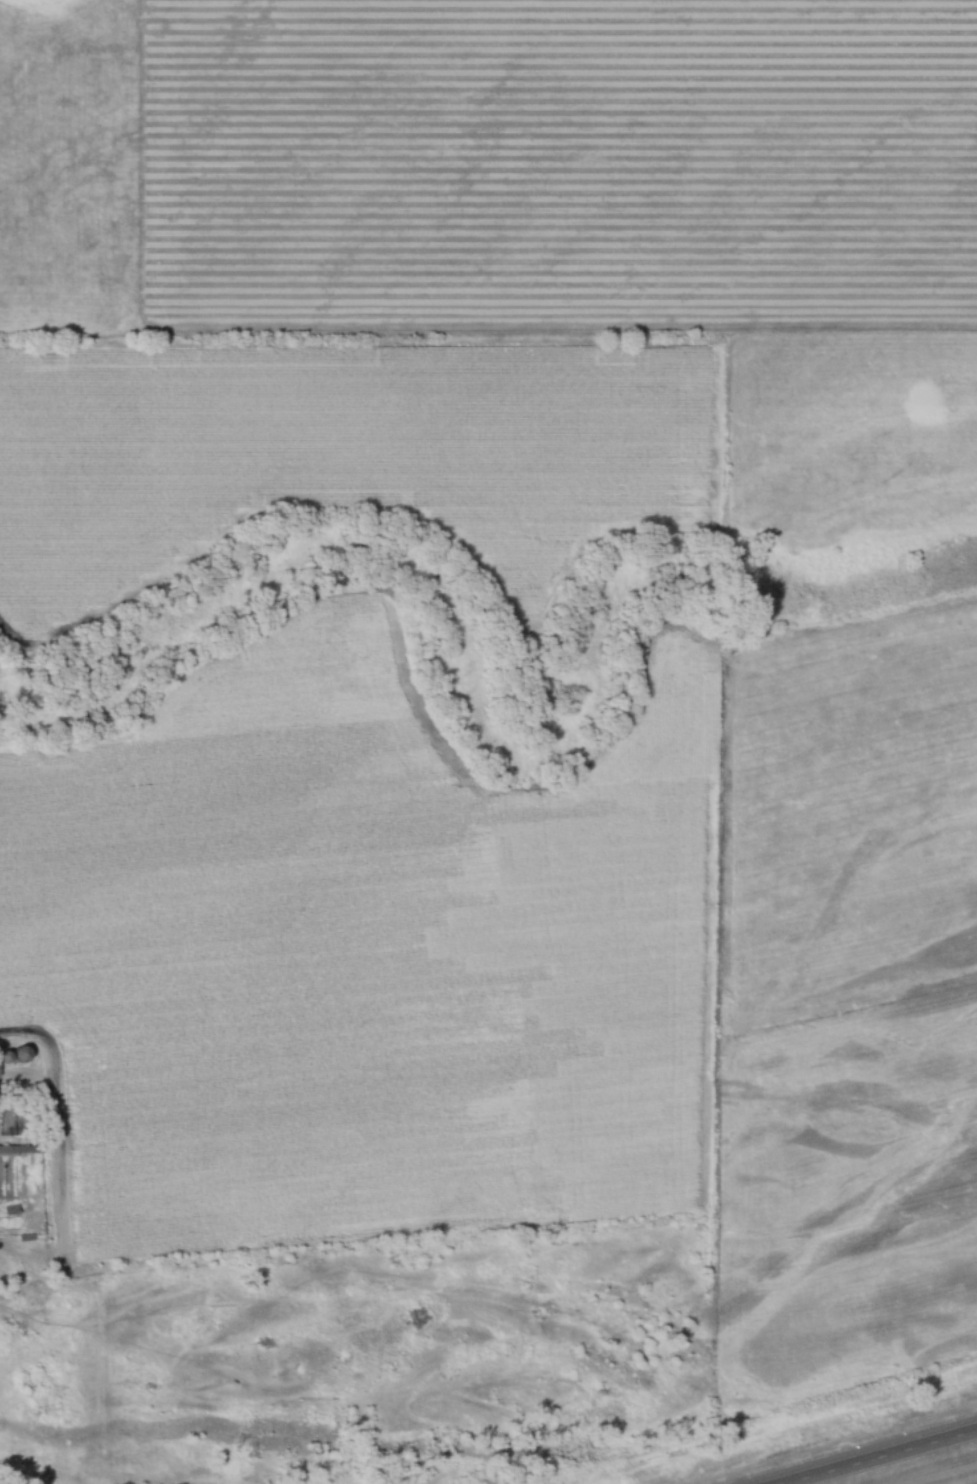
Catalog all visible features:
building: (14, 1057)
building: (3, 1152)
road: (888, 1459)

